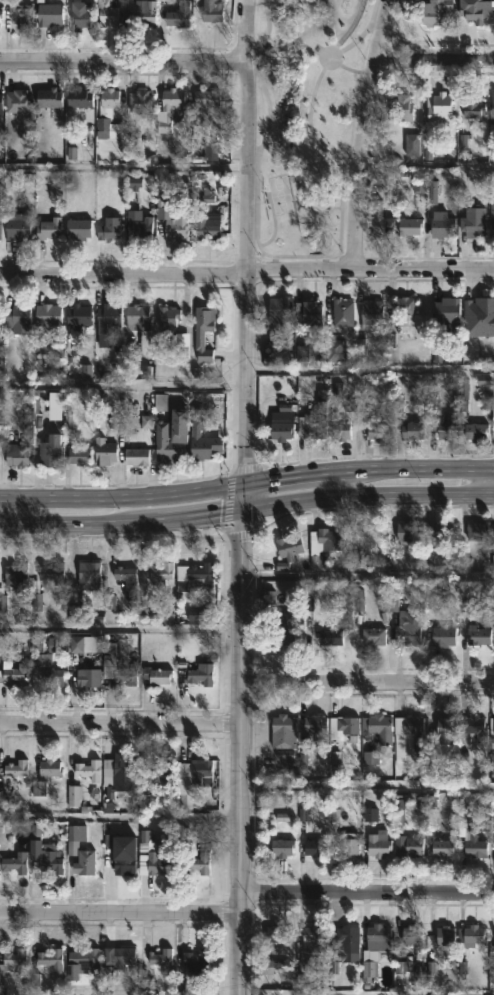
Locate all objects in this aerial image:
building: (474, 10)
building: (210, 11)
building: (434, 12)
building: (106, 13)
building: (47, 14)
building: (78, 14)
building: (19, 15)
building: (177, 15)
building: (144, 16)
building: (1, 19)
road: (433, 57)
road: (122, 60)
road: (347, 68)
building: (48, 98)
building: (77, 98)
building: (108, 98)
building: (16, 101)
building: (139, 102)
building: (205, 102)
building: (1, 104)
building: (471, 106)
building: (491, 106)
building: (437, 107)
building: (401, 108)
building: (167, 109)
park: (303, 122)
building: (118, 132)
road: (358, 134)
building: (211, 151)
road: (250, 153)
road: (424, 163)
road: (122, 166)
park: (278, 193)
building: (418, 194)
building: (491, 216)
building: (379, 221)
building: (472, 223)
building: (1, 225)
building: (136, 225)
building: (440, 225)
building: (16, 227)
building: (409, 227)
building: (47, 229)
building: (107, 229)
building: (174, 229)
building: (204, 229)
building: (76, 230)
road: (310, 256)
road: (343, 262)
road: (298, 271)
road: (423, 271)
road: (122, 273)
road: (256, 276)
building: (404, 306)
building: (477, 309)
building: (341, 314)
building: (445, 314)
building: (310, 315)
building: (370, 316)
building: (46, 317)
building: (77, 317)
building: (136, 318)
building: (277, 318)
building: (16, 320)
building: (108, 320)
building: (166, 323)
building: (202, 332)
road: (368, 370)
road: (232, 379)
road: (121, 386)
building: (162, 404)
building: (53, 407)
building: (280, 426)
building: (314, 426)
building: (443, 428)
building: (340, 430)
building: (411, 431)
building: (376, 433)
building: (474, 433)
building: (194, 434)
building: (170, 439)
building: (47, 452)
building: (107, 453)
building: (15, 456)
building: (77, 457)
building: (135, 458)
road: (247, 467)
road: (246, 481)
traffic signals: (243, 482)
road: (487, 482)
road: (242, 497)
road: (226, 503)
road: (247, 508)
traffic signals: (242, 509)
road: (0, 510)
building: (439, 530)
building: (475, 530)
building: (404, 531)
road: (236, 534)
building: (324, 542)
building: (288, 546)
building: (51, 572)
building: (159, 572)
road: (368, 572)
building: (198, 573)
building: (13, 574)
building: (124, 574)
building: (84, 585)
building: (148, 606)
building: (283, 626)
road: (121, 627)
building: (407, 628)
building: (372, 635)
building: (477, 635)
building: (329, 636)
building: (442, 636)
building: (87, 646)
building: (13, 672)
building: (52, 674)
building: (155, 675)
building: (200, 675)
building: (86, 677)
building: (127, 678)
road: (367, 681)
building: (492, 719)
road: (120, 722)
building: (343, 724)
building: (407, 725)
building: (313, 726)
building: (377, 727)
building: (444, 729)
building: (474, 729)
building: (281, 731)
building: (492, 754)
building: (14, 768)
building: (49, 768)
building: (87, 769)
building: (199, 769)
building: (159, 771)
building: (117, 774)
road: (366, 785)
road: (120, 816)
building: (469, 834)
building: (377, 844)
building: (409, 846)
building: (281, 847)
building: (314, 847)
building: (346, 847)
building: (441, 847)
building: (78, 850)
building: (44, 856)
building: (13, 863)
building: (198, 863)
building: (156, 864)
building: (126, 867)
road: (367, 891)
road: (119, 911)
building: (276, 934)
building: (410, 935)
building: (440, 936)
building: (471, 936)
building: (313, 940)
building: (346, 940)
building: (378, 941)
building: (117, 956)
building: (160, 958)
building: (11, 959)
building: (49, 959)
building: (195, 960)
building: (80, 963)
building: (367, 972)
road: (332, 993)

